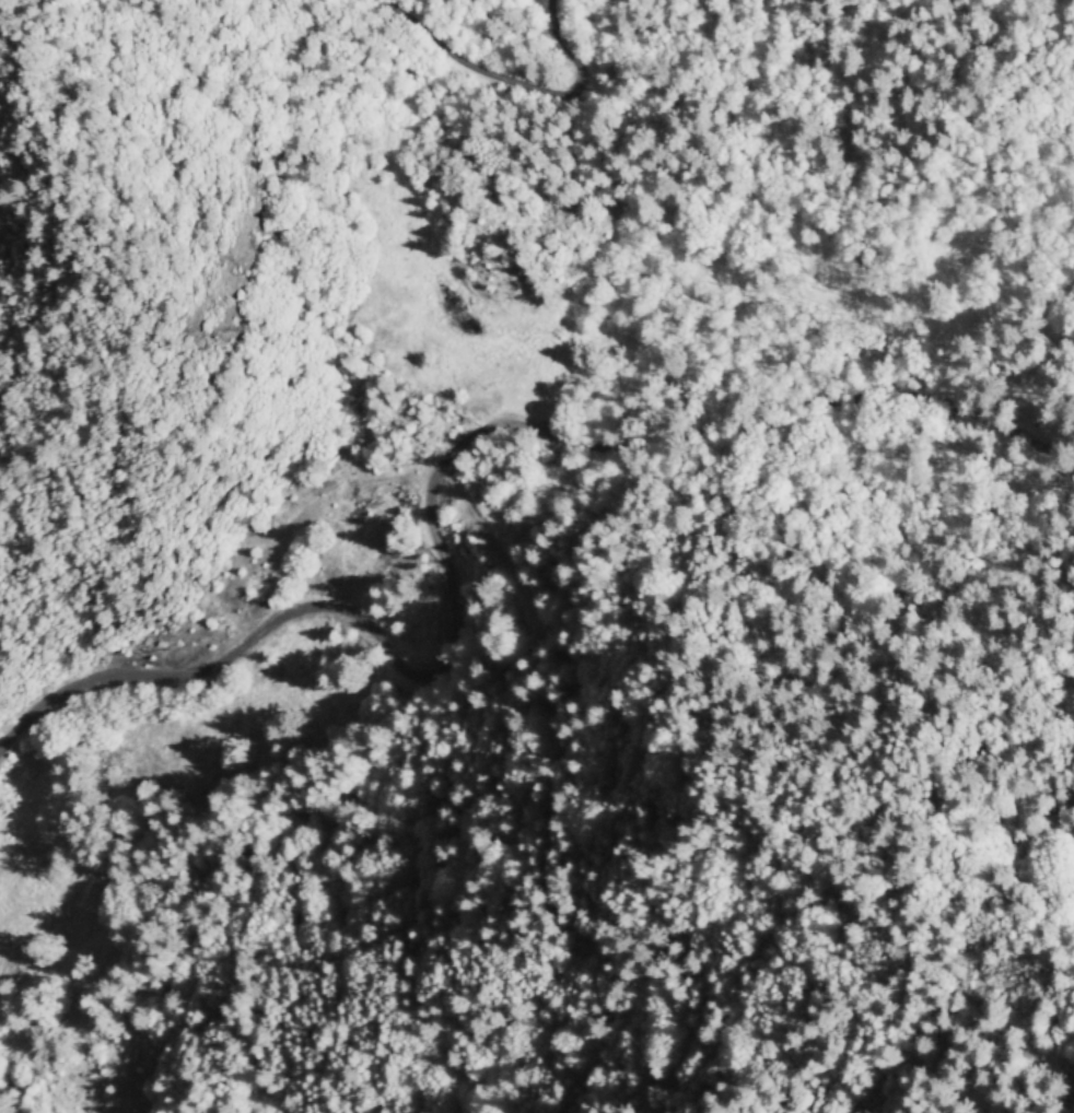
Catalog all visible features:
road: (326, 109)
road: (716, 487)
road: (460, 644)
road: (353, 801)

